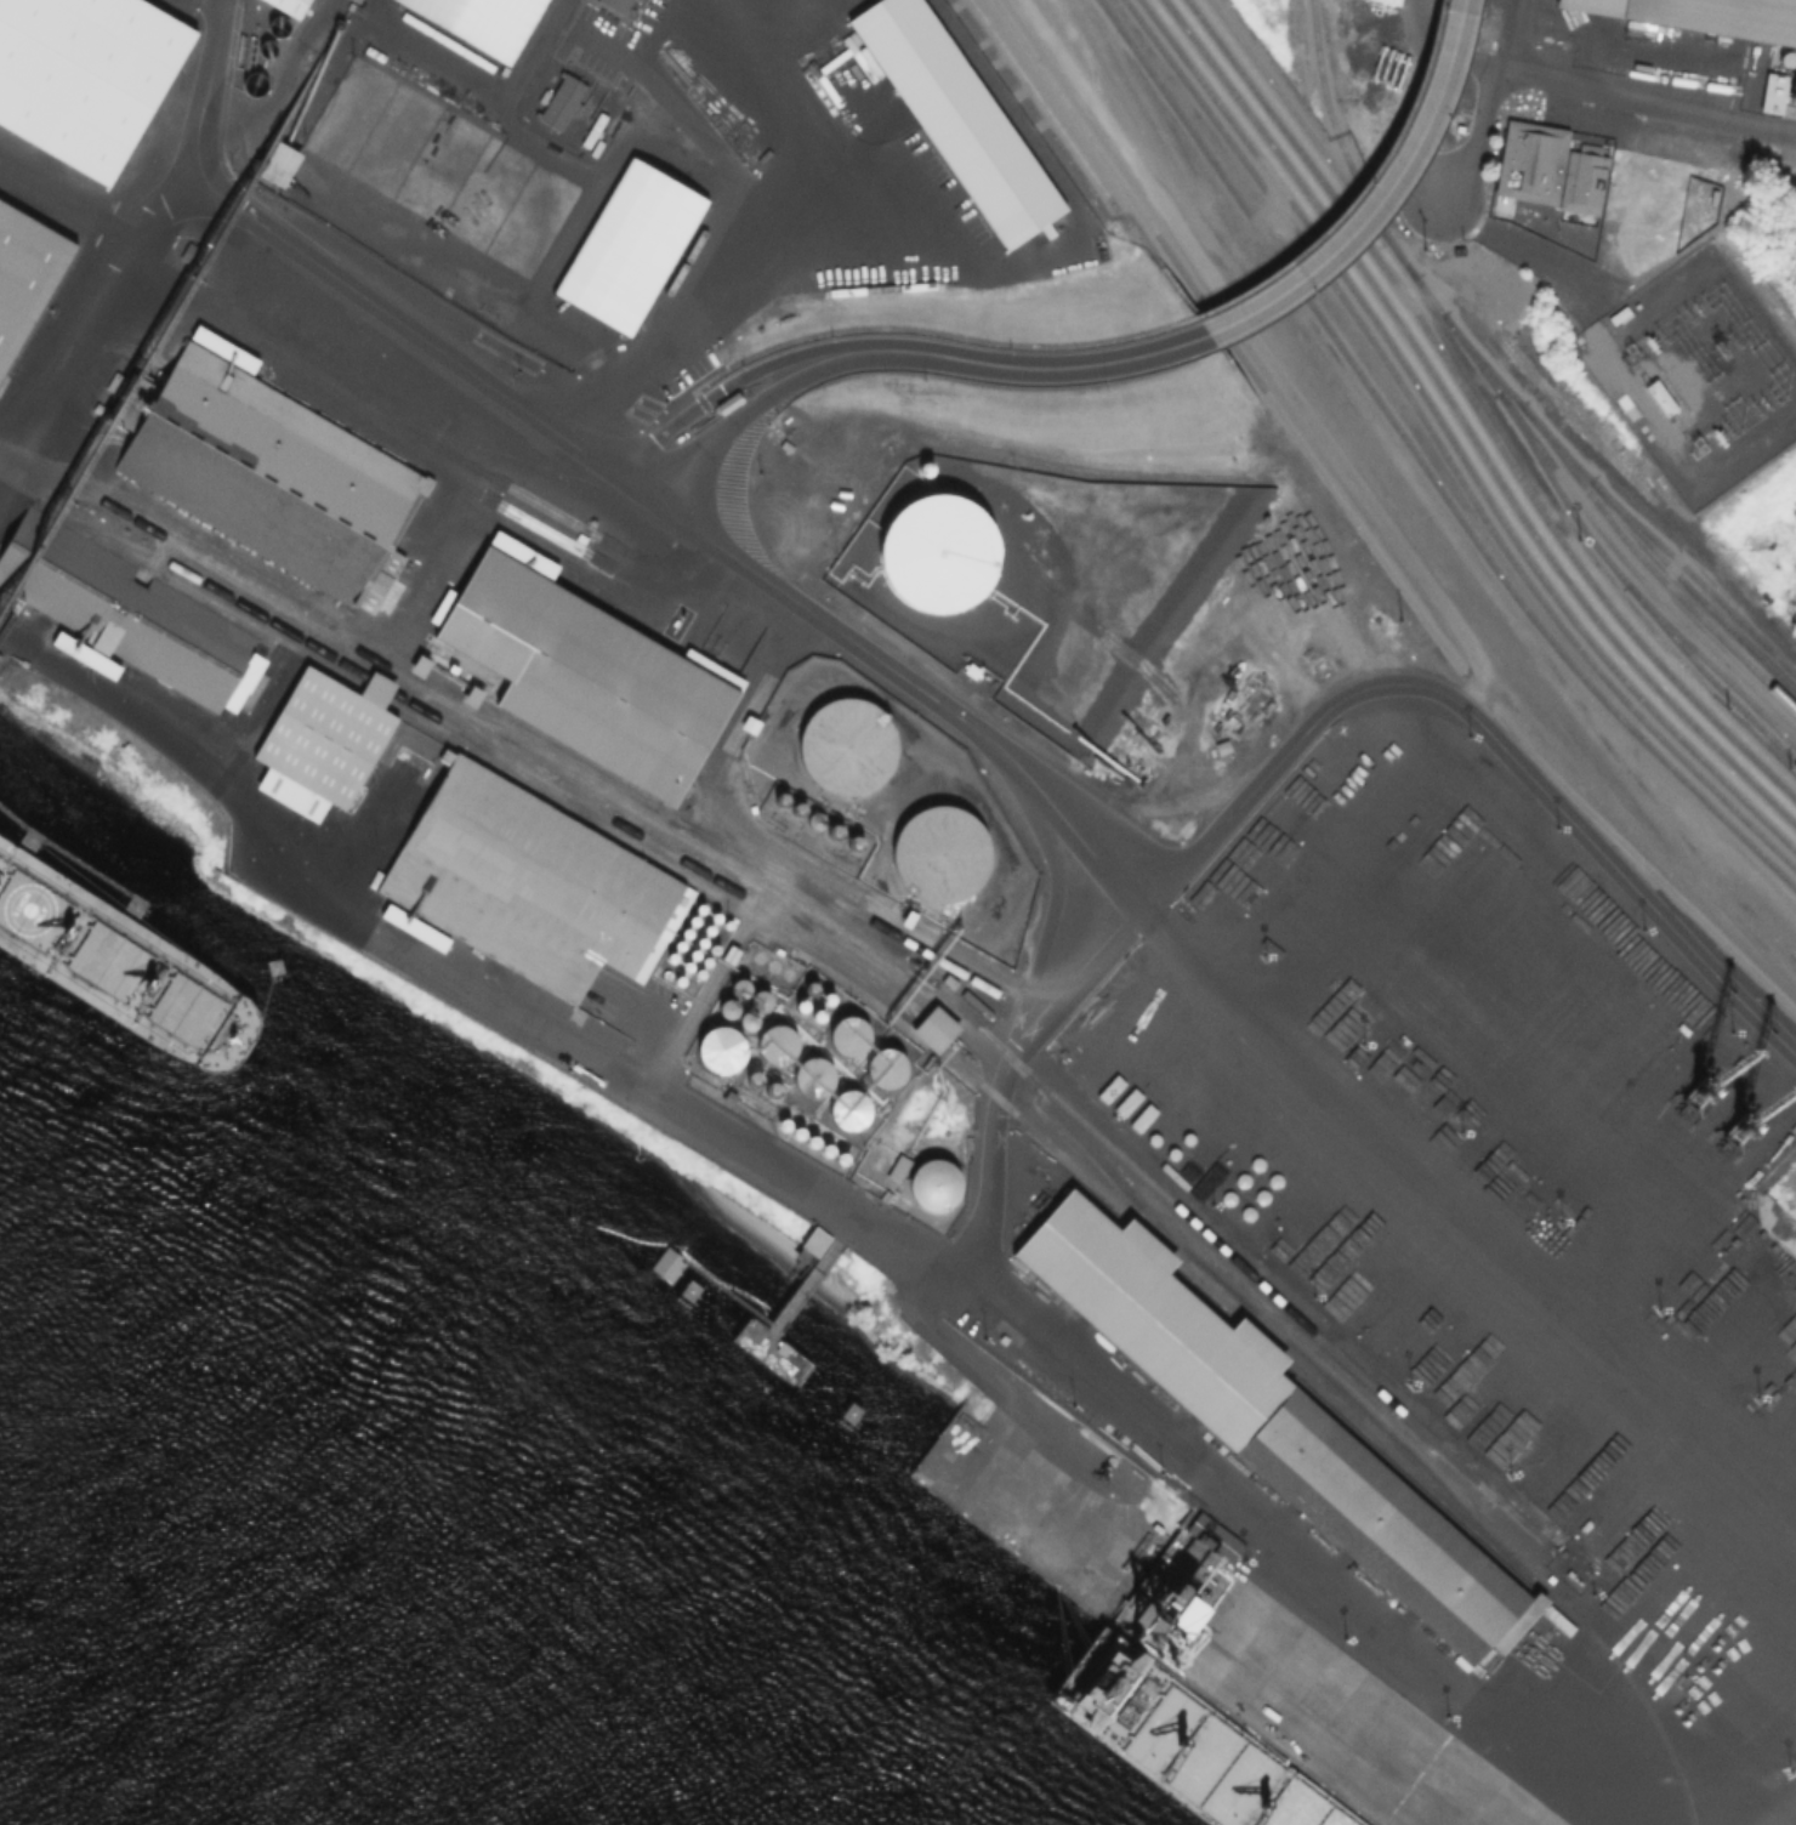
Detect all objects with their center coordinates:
building: (354, 2)
building: (1380, 2)
building: (1711, 15)
building: (481, 22)
road: (1480, 61)
building: (86, 76)
road: (1582, 89)
railway: (1039, 101)
building: (955, 115)
railway: (1349, 157)
building: (1529, 161)
building: (1609, 189)
road: (1382, 198)
building: (630, 249)
building: (25, 274)
road: (703, 311)
road: (93, 315)
railway: (1467, 363)
road: (1002, 366)
power substation: (1695, 373)
building: (142, 396)
building: (728, 404)
road: (694, 406)
railway: (1476, 411)
railway: (1462, 427)
road: (720, 437)
railway: (1449, 440)
railway: (1442, 449)
railway: (1423, 466)
road: (612, 473)
building: (273, 481)
railway: (1363, 530)
building: (943, 553)
railway: (1647, 558)
building: (10, 562)
railway: (1602, 569)
railway: (1644, 575)
railway: (1687, 584)
railway: (1659, 609)
building: (138, 626)
road: (5, 633)
railway: (1684, 652)
building: (83, 654)
pier: (1, 676)
building: (590, 676)
railway: (501, 713)
road: (1303, 730)
railway: (488, 743)
building: (318, 744)
building: (849, 747)
railway: (527, 773)
building: (942, 854)
pier: (67, 860)
building: (532, 885)
railway: (801, 893)
building: (701, 910)
building: (717, 919)
building: (694, 923)
railway: (839, 925)
building: (728, 926)
building: (710, 931)
building: (687, 936)
building: (703, 943)
building: (680, 948)
building: (715, 951)
building: (694, 955)
building: (731, 957)
building: (673, 960)
building: (709, 963)
building: (688, 967)
building: (664, 976)
building: (700, 976)
building: (790, 976)
building: (680, 982)
building: (741, 989)
building: (813, 989)
building: (831, 1000)
building: (762, 1002)
building: (803, 1007)
building: (729, 1010)
building: (820, 1017)
building: (750, 1022)
building: (933, 1029)
building: (852, 1036)
railway: (940, 1042)
building: (780, 1045)
building: (723, 1050)
building: (888, 1069)
building: (815, 1079)
building: (852, 1110)
building: (786, 1125)
building: (801, 1133)
building: (815, 1143)
building: (830, 1150)
building: (845, 1160)
building: (934, 1187)
building: (815, 1243)
road: (910, 1247)
building: (666, 1267)
pier: (792, 1302)
building: (1279, 1429)
building: (1212, 1537)
pier: (1108, 1580)
building: (1556, 1619)
pier: (1363, 1768)

